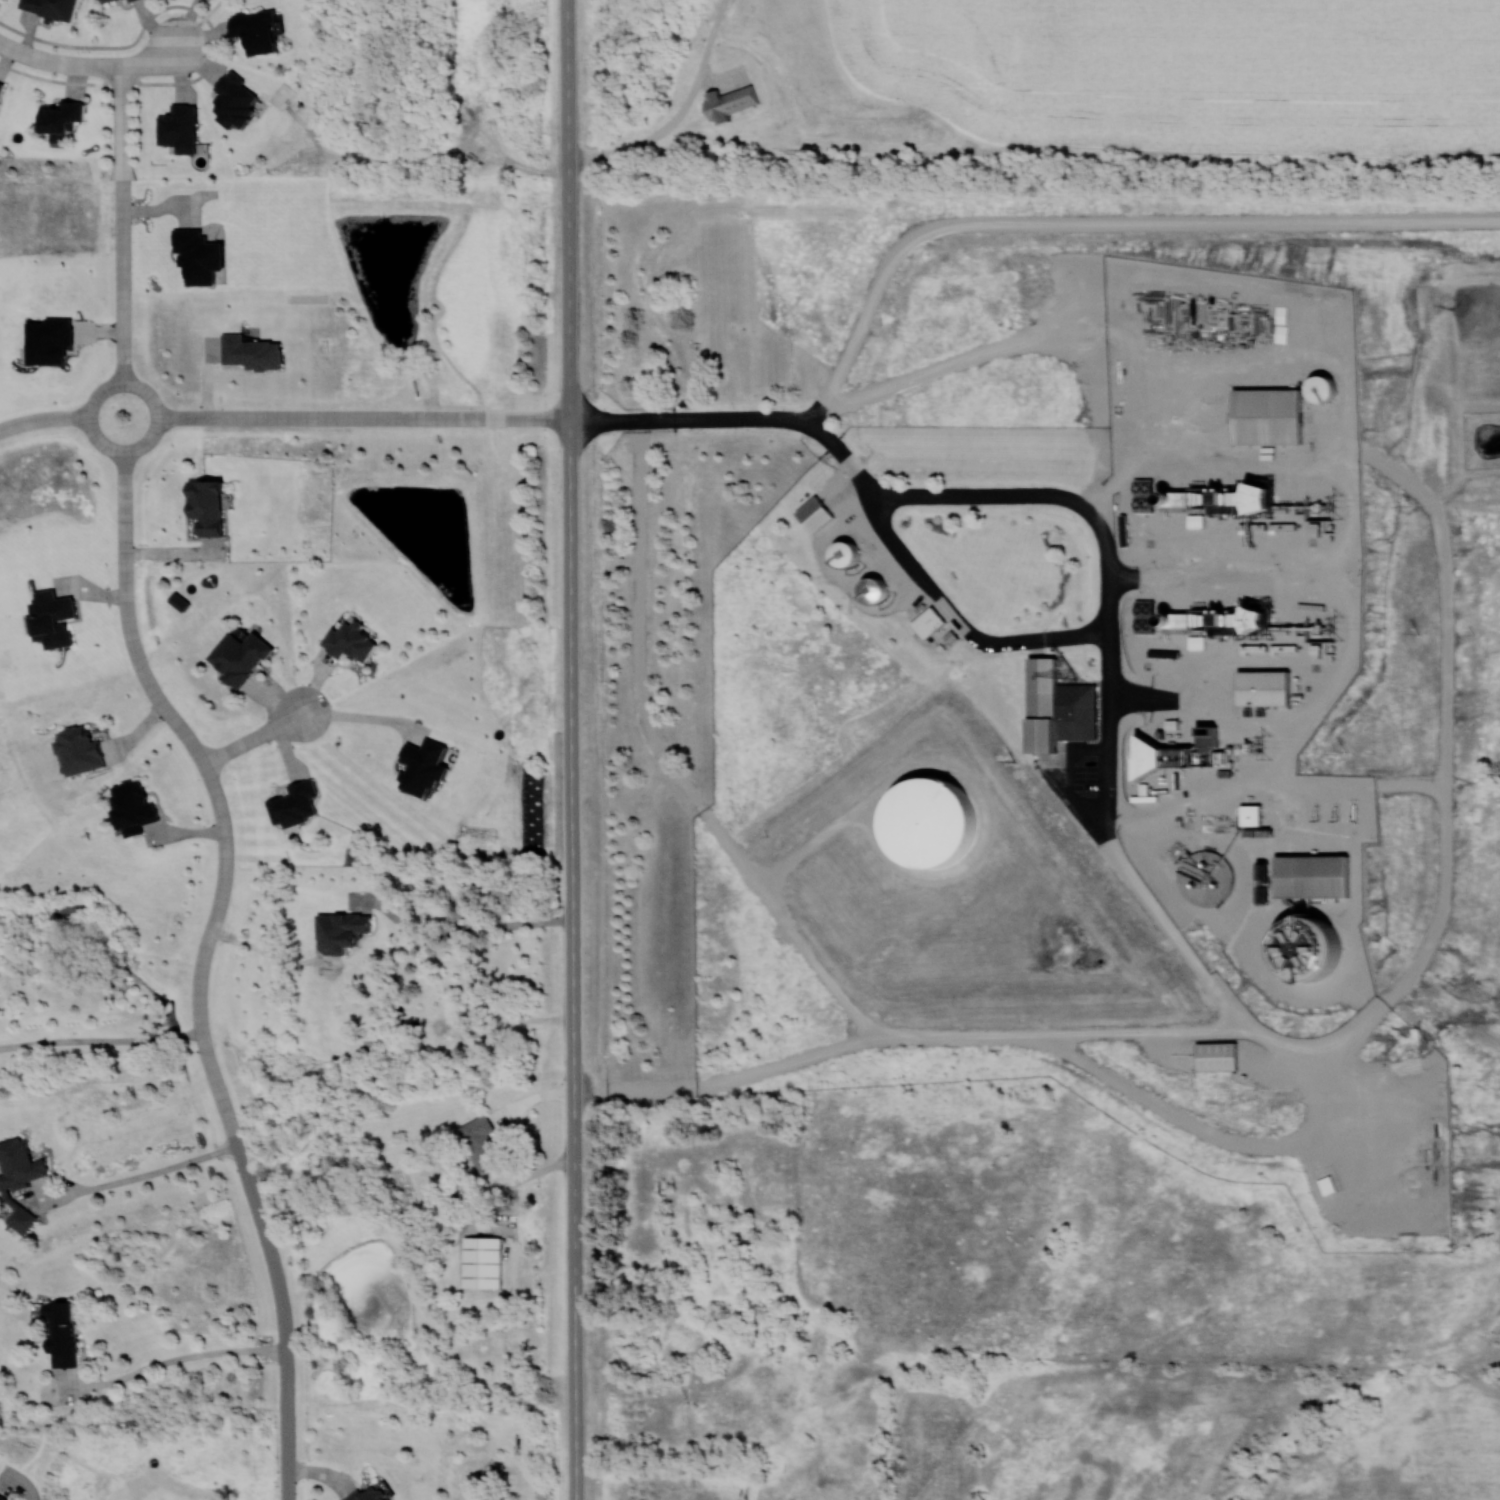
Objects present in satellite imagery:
building: (102, 0)
road: (166, 6)
building: (49, 8)
building: (253, 30)
road: (158, 58)
road: (59, 60)
road: (60, 79)
building: (0, 83)
road: (657, 136)
road: (124, 223)
road: (1102, 223)
building: (196, 256)
road: (943, 366)
building: (1319, 387)
building: (1266, 415)
road: (44, 416)
road: (365, 416)
road: (123, 450)
road: (864, 485)
building: (1130, 487)
chimney: (1160, 491)
building: (1255, 497)
power tower: (1336, 505)
building: (813, 514)
road: (176, 553)
building: (843, 553)
building: (872, 590)
building: (1132, 608)
chimney: (1162, 616)
building: (927, 622)
power tower: (1337, 626)
building: (348, 640)
building: (237, 655)
building: (1262, 687)
building: (1056, 707)
road: (372, 718)
chimney: (1190, 725)
road: (263, 733)
power tower: (1265, 745)
road: (573, 749)
building: (1145, 756)
road: (667, 760)
road: (963, 776)
road: (214, 784)
road: (1272, 784)
building: (1249, 815)
building: (930, 823)
building: (1262, 871)
building: (1310, 876)
road: (460, 930)
building: (339, 932)
road: (1367, 1008)
road: (1238, 1015)
road: (907, 1034)
road: (101, 1040)
building: (1215, 1057)
road: (1160, 1109)
building: (480, 1143)
building: (18, 1165)
road: (141, 1175)
building: (481, 1262)
road: (283, 1312)
building: (60, 1333)
road: (173, 1361)
road: (25, 1485)
building: (367, 1493)
building: (2, 1498)

